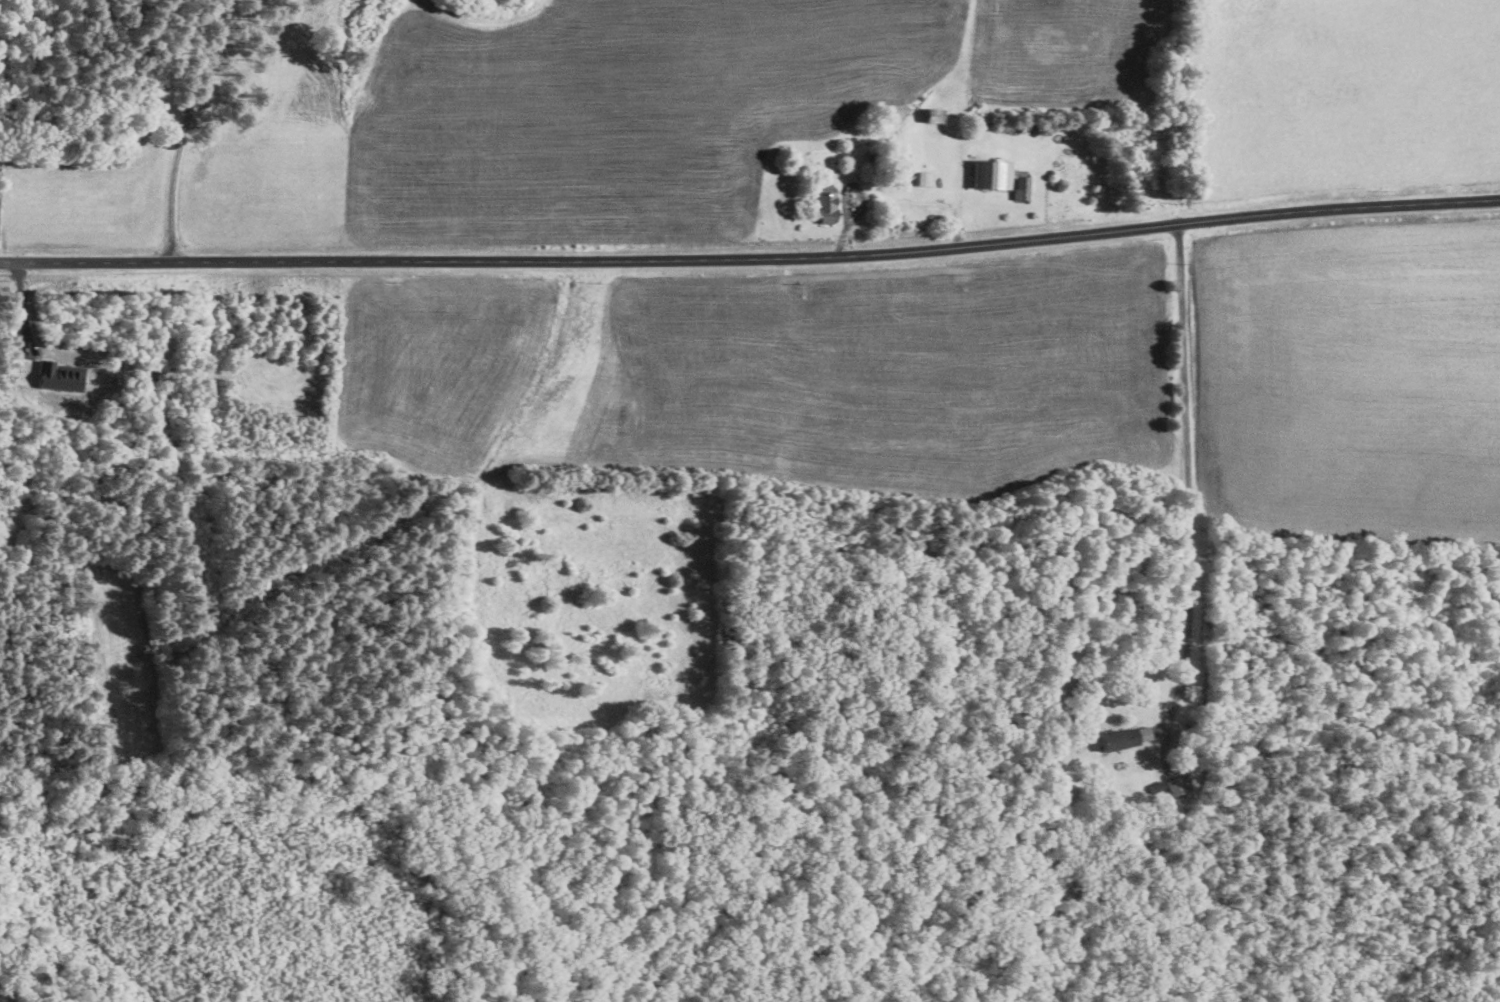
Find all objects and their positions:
road: (184, 129)
building: (995, 176)
building: (828, 202)
road: (751, 257)
road: (1186, 477)
building: (1123, 738)

